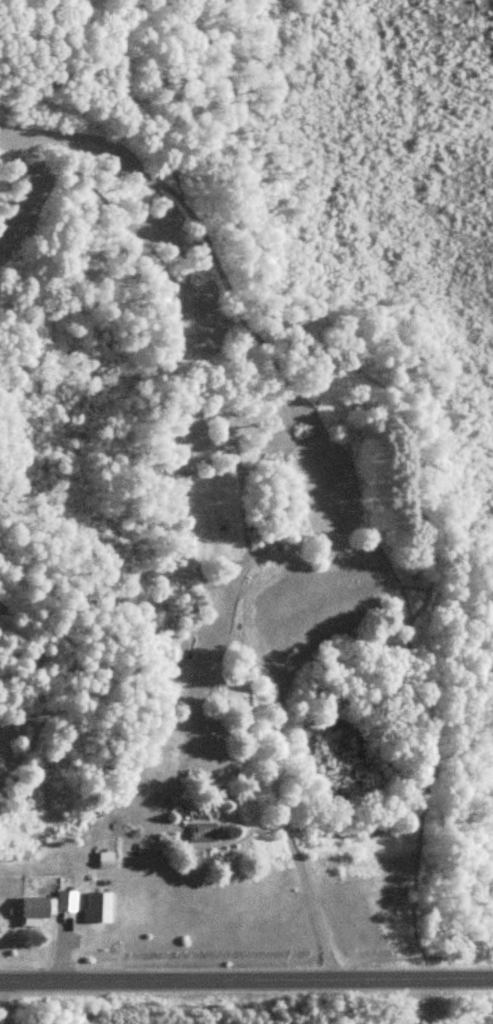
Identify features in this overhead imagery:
building: (64, 901)
building: (34, 911)
road: (246, 980)

